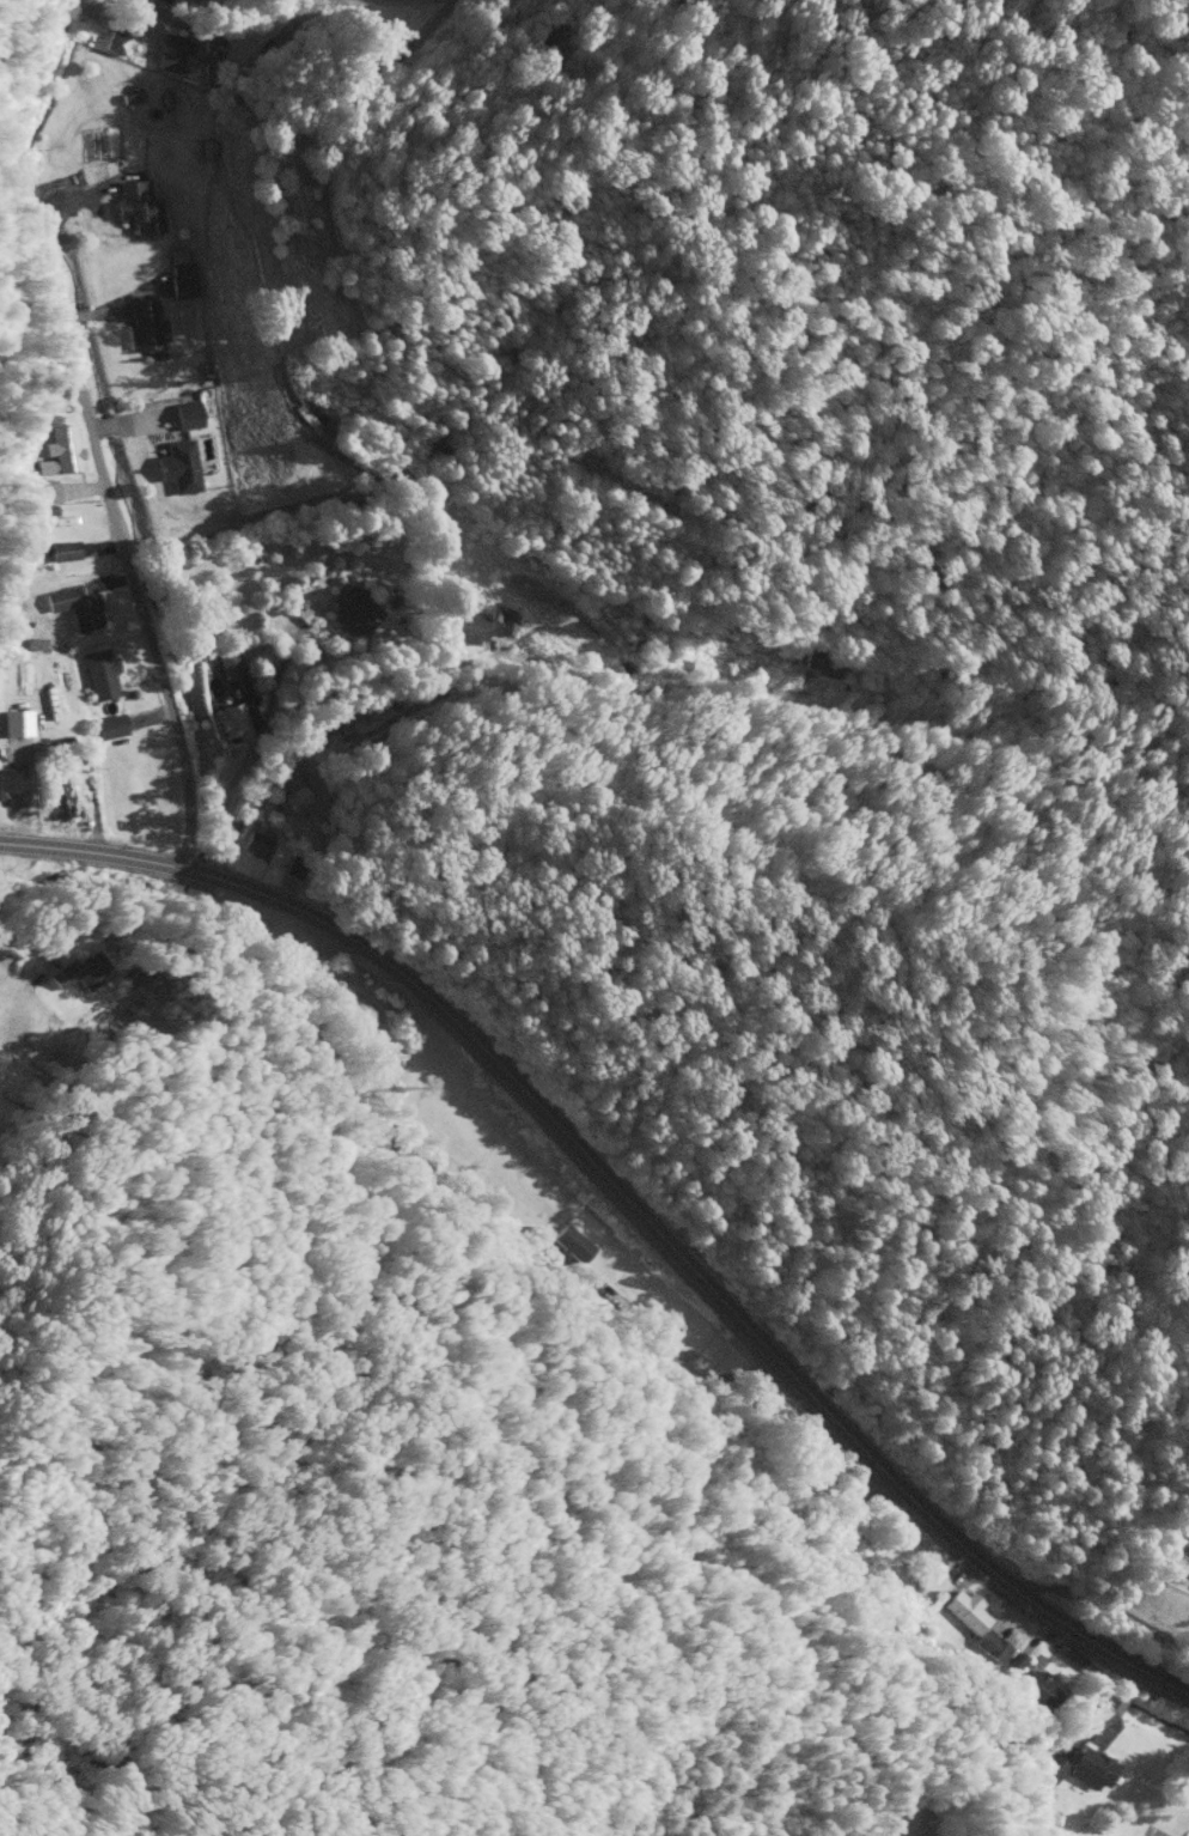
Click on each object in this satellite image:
road: (190, 30)
road: (90, 432)
building: (179, 469)
building: (83, 612)
building: (354, 615)
building: (225, 669)
road: (543, 670)
building: (98, 677)
building: (374, 710)
building: (13, 724)
building: (227, 725)
building: (108, 729)
building: (4, 782)
building: (289, 803)
building: (53, 805)
road: (629, 1205)

